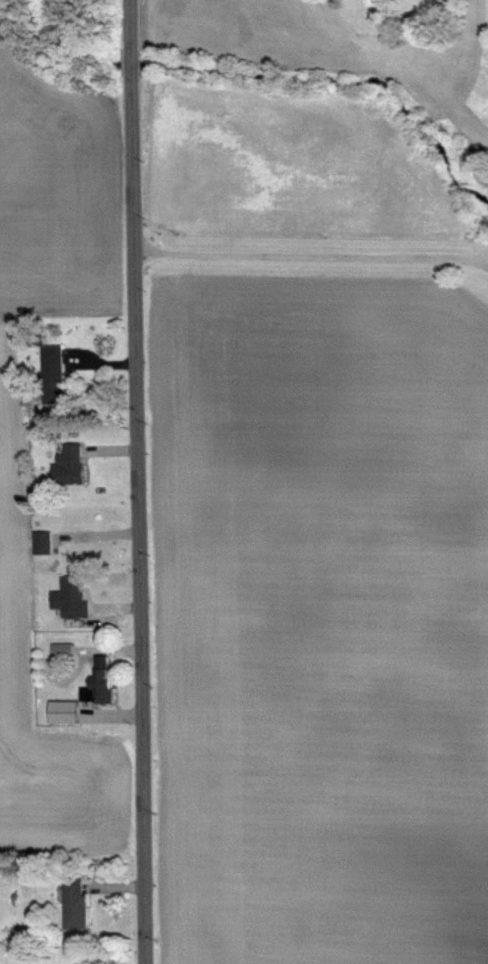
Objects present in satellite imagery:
road: (312, 256)
building: (49, 369)
building: (69, 465)
road: (138, 481)
building: (69, 597)
building: (98, 687)
building: (61, 712)
building: (74, 904)

